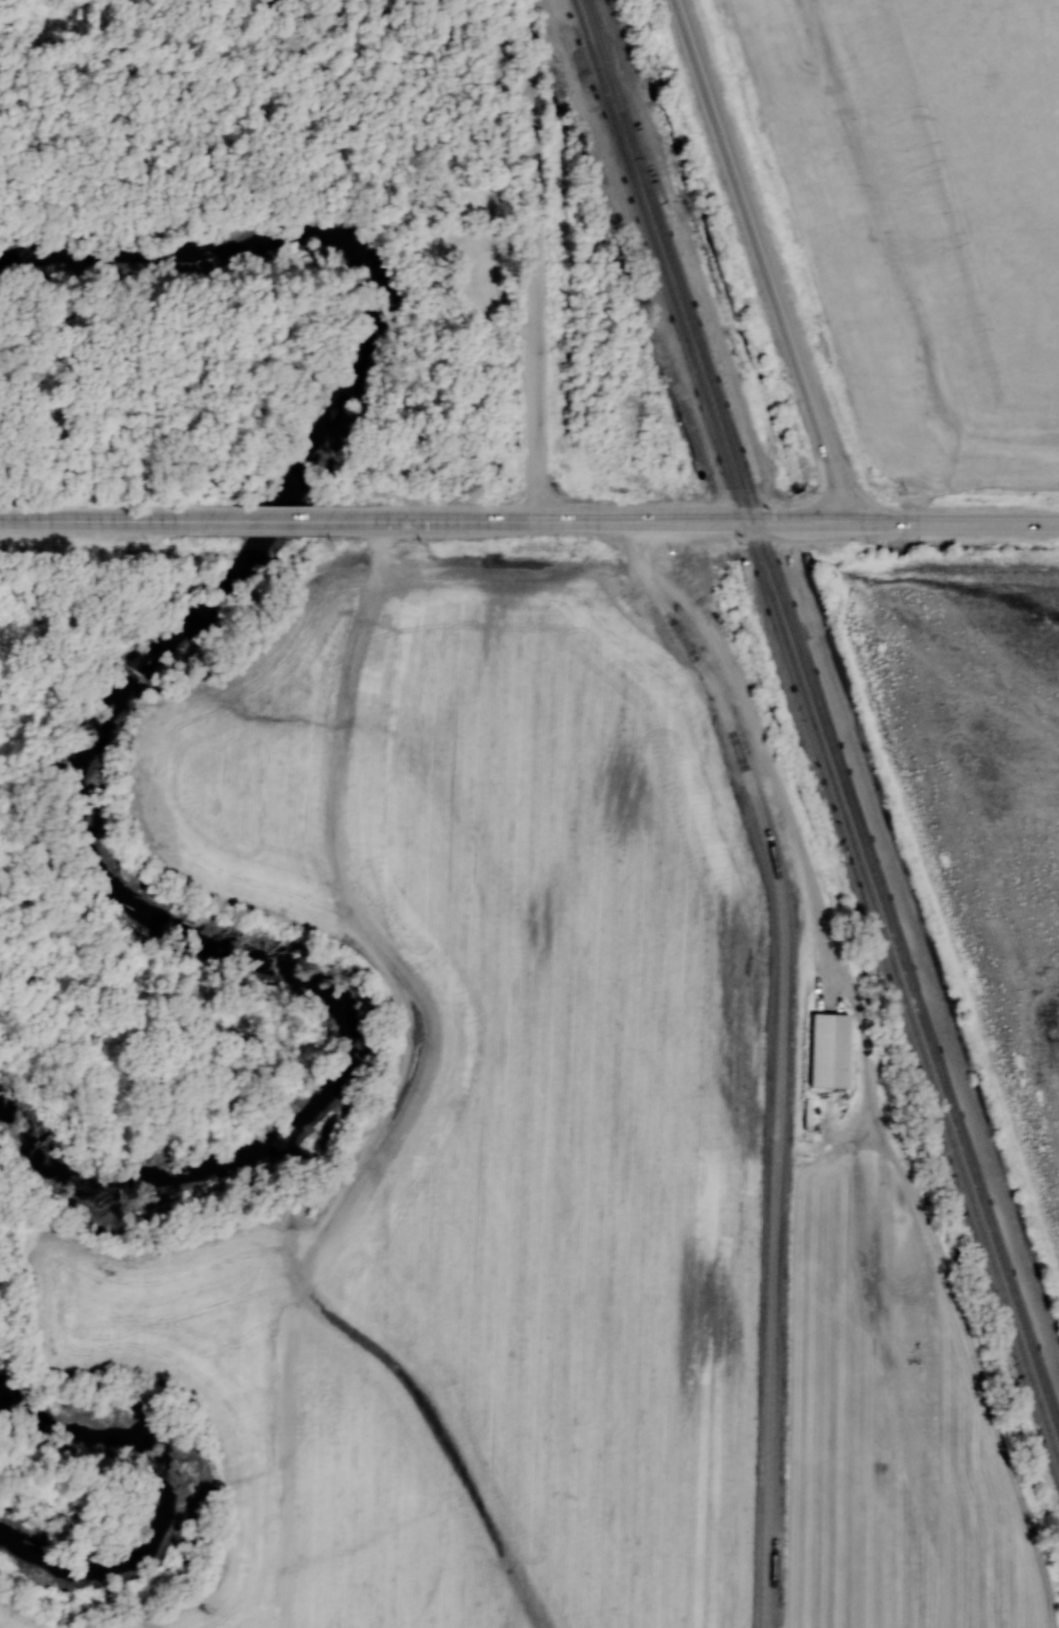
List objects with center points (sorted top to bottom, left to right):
road: (227, 3)
road: (229, 3)
road: (417, 22)
road: (361, 104)
road: (531, 132)
park: (629, 170)
railway: (659, 257)
road: (765, 260)
parking lot: (472, 264)
road: (474, 267)
park: (216, 335)
road: (533, 381)
road: (695, 515)
road: (793, 515)
park: (691, 516)
road: (105, 519)
road: (275, 520)
road: (493, 520)
road: (950, 521)
road: (744, 524)
river: (104, 709)
railway: (825, 711)
railway: (901, 987)
building: (828, 1049)
road: (779, 1061)
river: (166, 1488)

